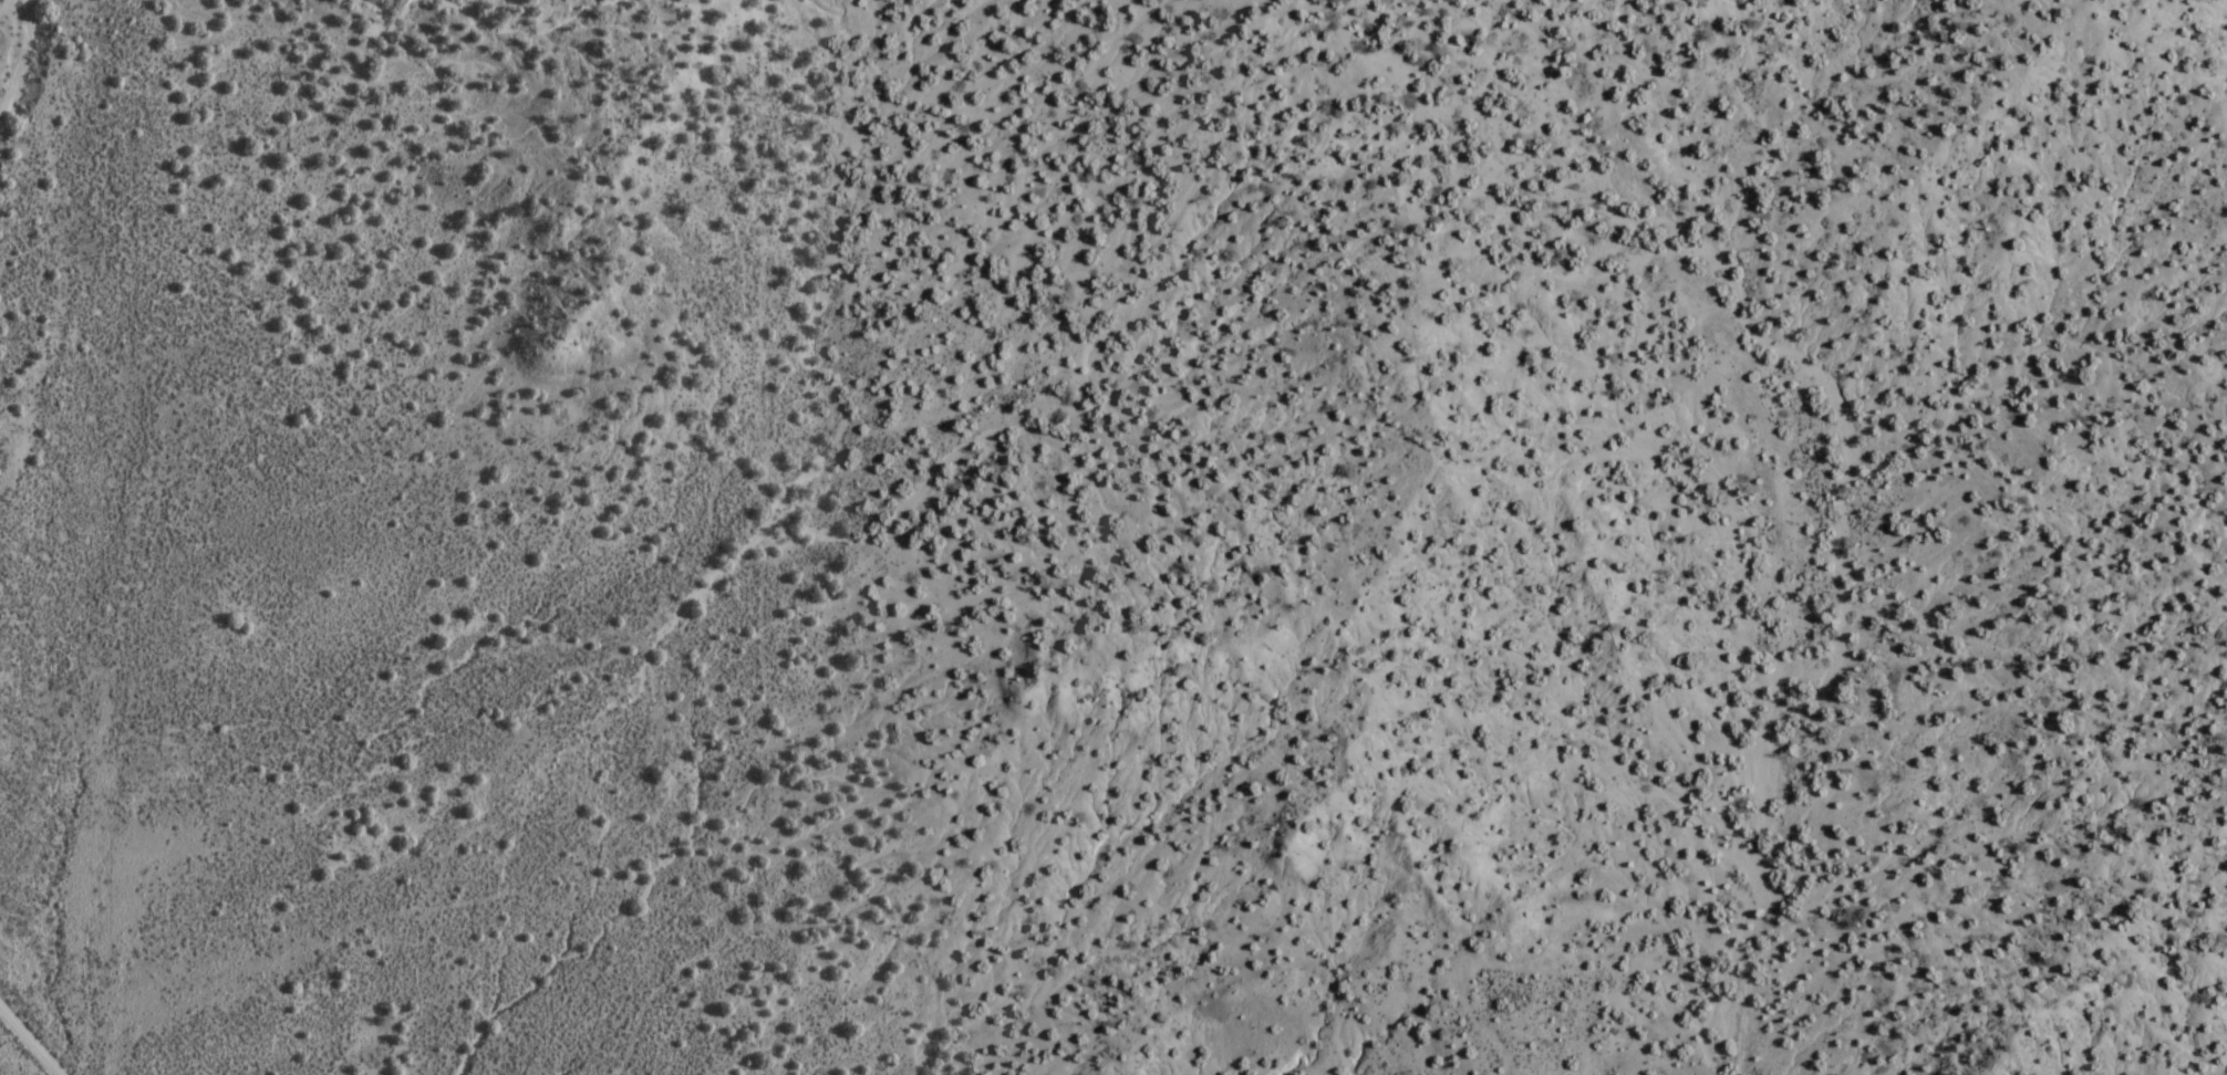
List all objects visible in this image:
river: (24, 36)
road: (32, 1037)

